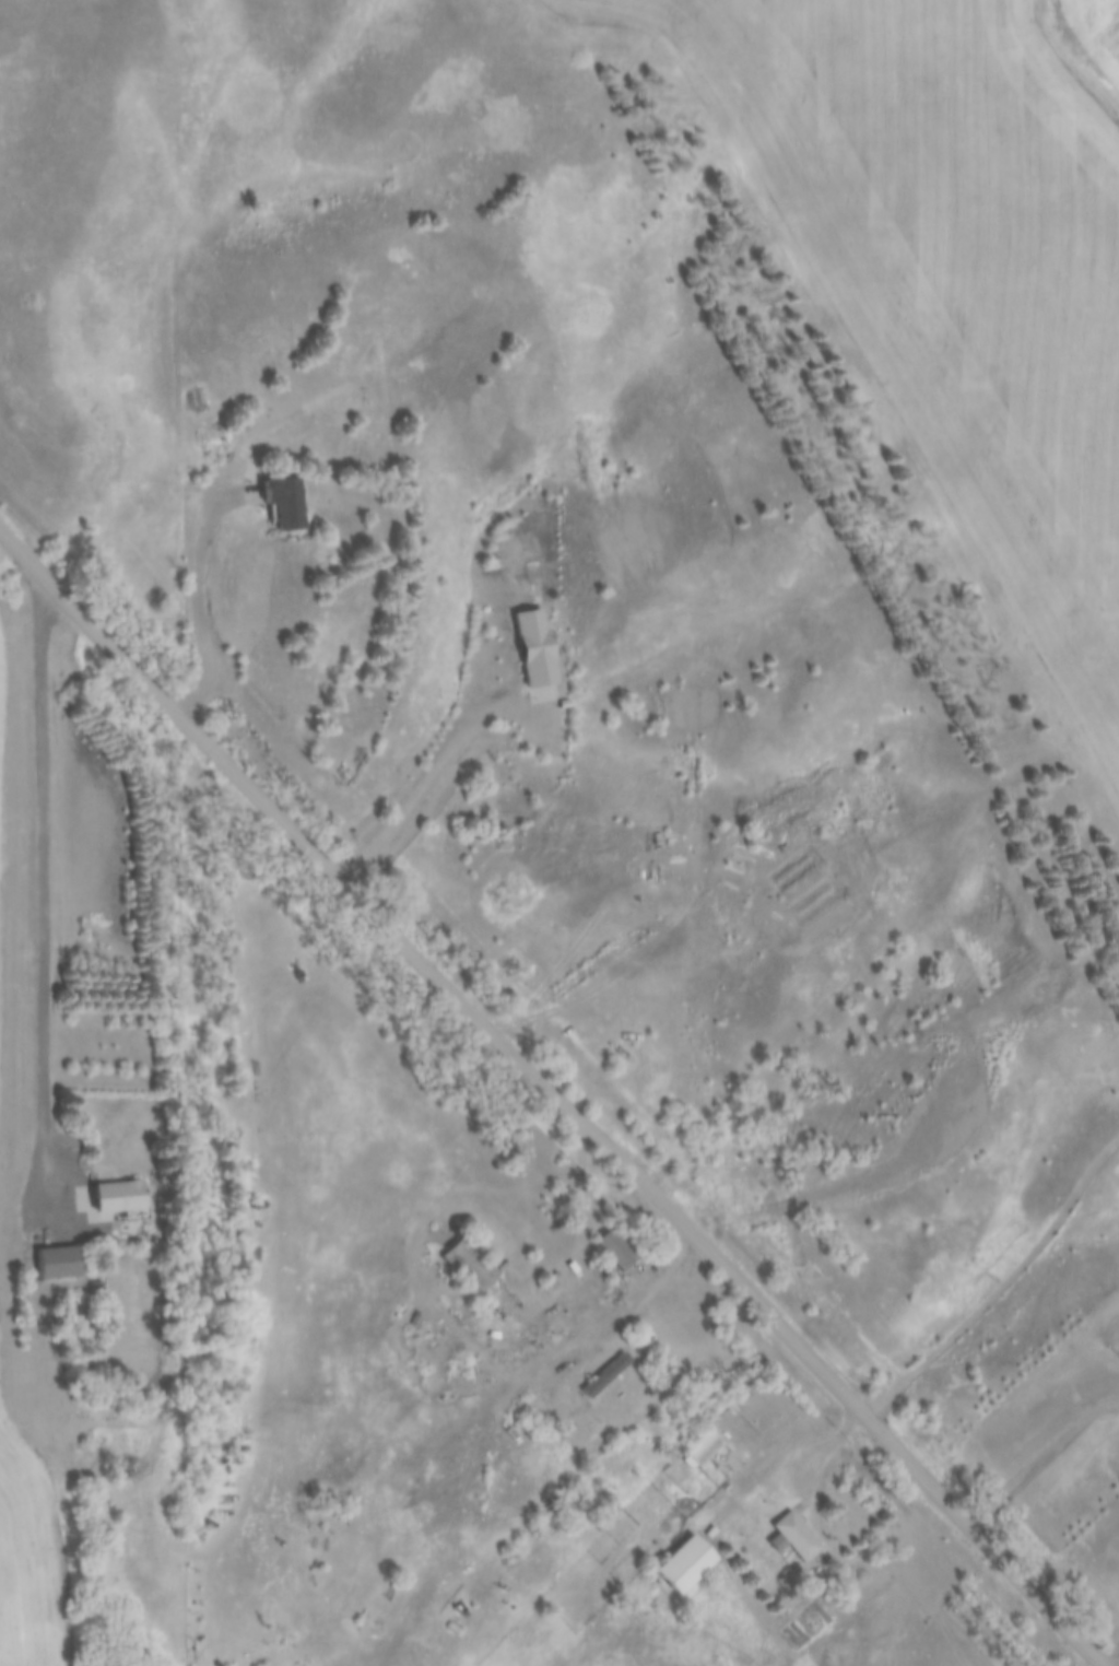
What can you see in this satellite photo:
building: (281, 503)
building: (538, 650)
road: (43, 901)
road: (556, 1092)
building: (109, 1202)
building: (611, 1251)
building: (50, 1265)
building: (464, 1265)
road: (573, 1335)
building: (602, 1374)
building: (695, 1452)
building: (790, 1538)
building: (660, 1556)
building: (474, 1584)

